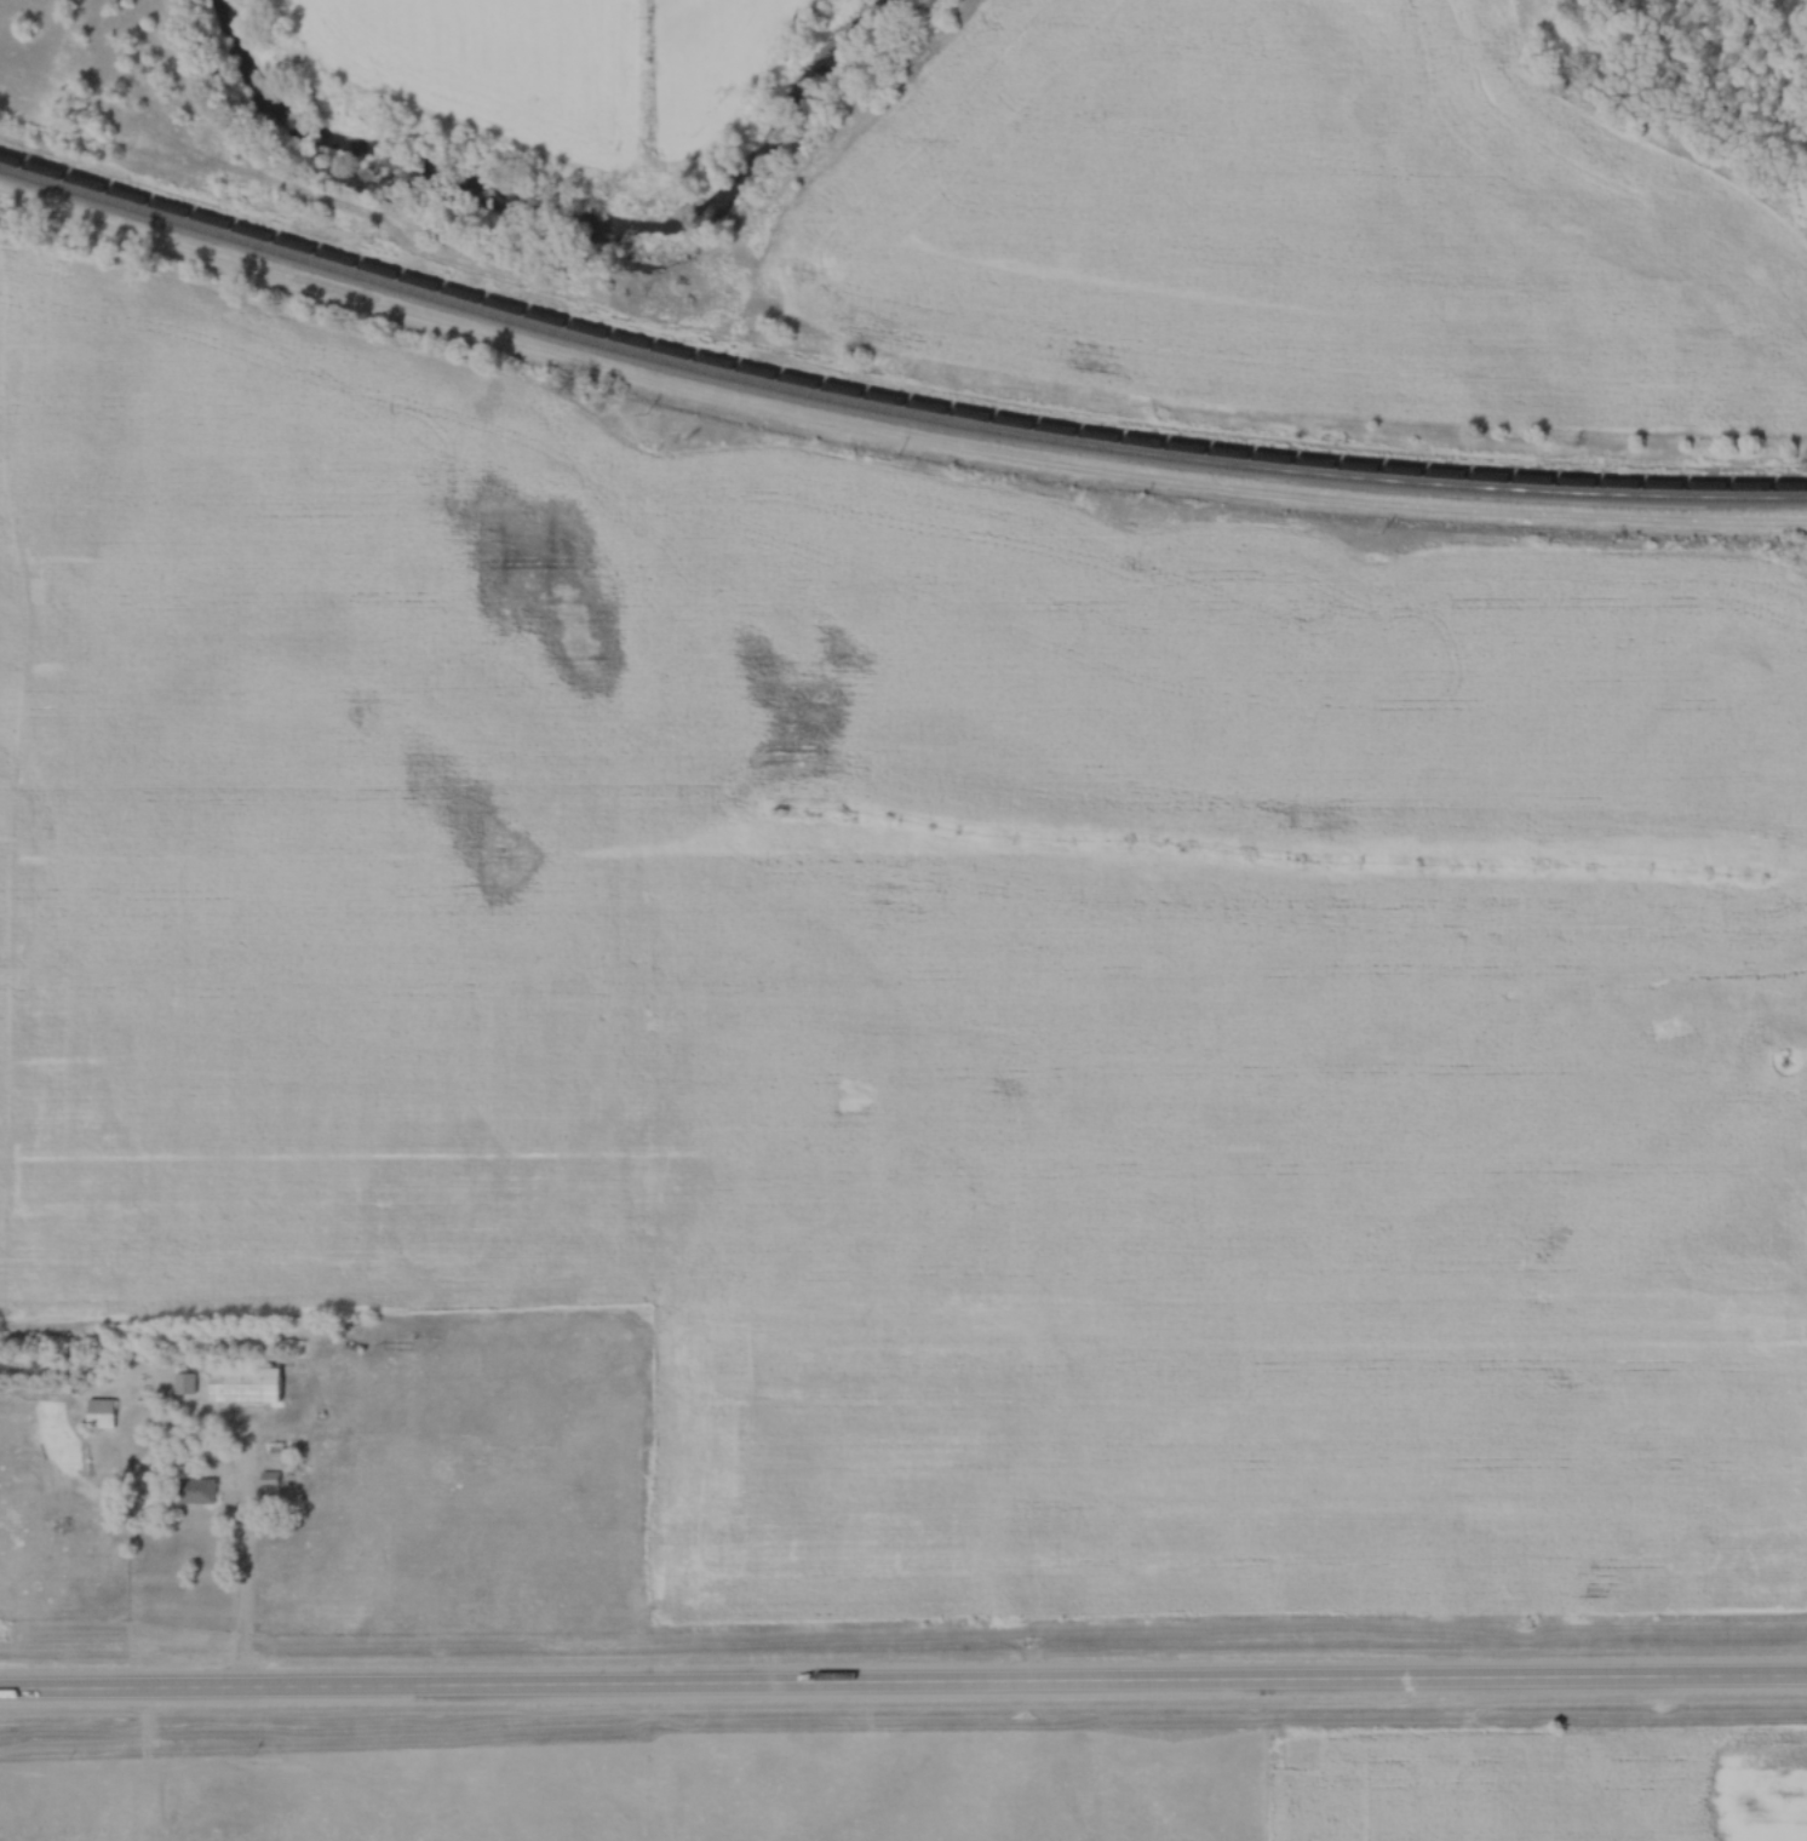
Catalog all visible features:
railway: (889, 395)
railway: (889, 411)
building: (180, 1382)
building: (240, 1383)
building: (97, 1412)
building: (193, 1490)
road: (246, 1547)
road: (904, 1677)

